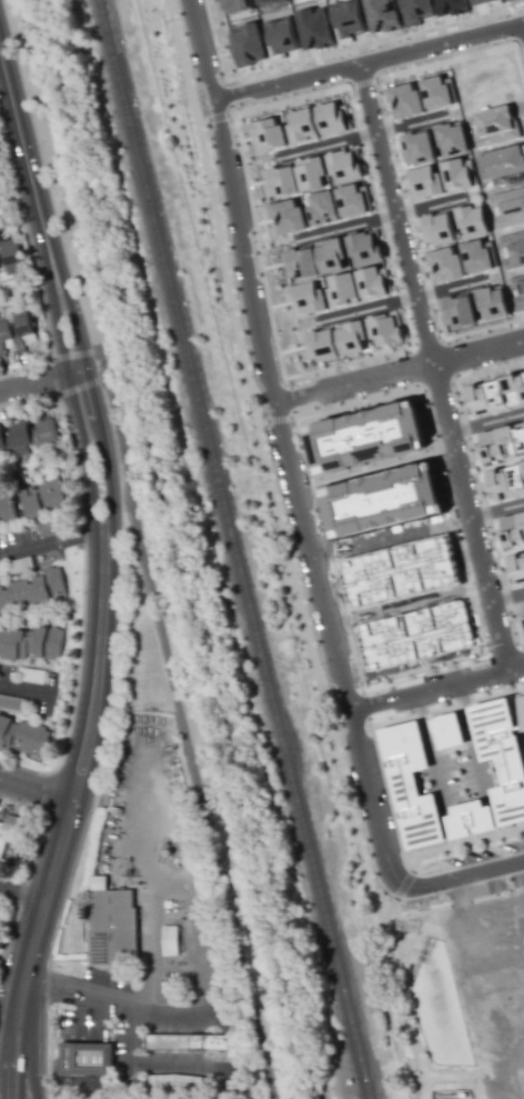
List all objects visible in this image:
building: (262, 0)
building: (514, 0)
building: (492, 4)
building: (235, 6)
building: (450, 7)
building: (415, 10)
building: (381, 12)
building: (346, 19)
building: (314, 24)
road: (521, 42)
building: (246, 43)
road: (369, 61)
road: (446, 61)
road: (362, 82)
building: (439, 92)
street lamp: (281, 96)
road: (288, 100)
building: (404, 101)
road: (216, 117)
building: (332, 118)
road: (202, 121)
road: (410, 123)
building: (301, 126)
building: (266, 134)
street lamp: (389, 142)
street lamp: (39, 144)
road: (325, 144)
building: (415, 147)
building: (454, 157)
building: (344, 164)
building: (310, 174)
building: (280, 181)
building: (424, 182)
building: (353, 200)
road: (431, 207)
building: (321, 208)
road: (394, 213)
building: (286, 217)
building: (471, 220)
road: (345, 228)
building: (435, 229)
street lamp: (251, 243)
building: (330, 256)
building: (478, 256)
building: (10, 257)
building: (299, 262)
building: (369, 263)
building: (444, 263)
street lamp: (29, 264)
road: (449, 288)
building: (342, 290)
building: (306, 299)
building: (492, 301)
road: (365, 309)
building: (456, 311)
building: (384, 329)
building: (14, 330)
building: (350, 337)
building: (320, 346)
road: (238, 349)
road: (75, 353)
street lamp: (98, 366)
road: (399, 371)
road: (37, 381)
road: (79, 386)
building: (496, 394)
street lamp: (20, 403)
street lamp: (327, 406)
road: (278, 418)
road: (261, 421)
road: (486, 422)
building: (27, 434)
building: (502, 441)
road: (284, 446)
building: (506, 481)
building: (42, 498)
building: (7, 508)
road: (496, 509)
road: (470, 517)
building: (47, 526)
building: (512, 528)
road: (50, 543)
road: (142, 549)
railway: (233, 549)
road: (101, 551)
building: (20, 565)
building: (516, 567)
building: (2, 568)
building: (33, 589)
street lamp: (79, 595)
road: (507, 596)
building: (522, 608)
building: (31, 642)
building: (31, 673)
road: (436, 688)
road: (26, 689)
parking lot: (28, 689)
street lamp: (377, 690)
building: (521, 709)
street lamp: (115, 715)
road: (373, 725)
building: (446, 730)
building: (22, 735)
building: (502, 756)
building: (411, 785)
road: (34, 790)
road: (352, 805)
building: (470, 819)
building: (9, 840)
road: (462, 843)
parking lot: (513, 845)
parking lot: (471, 857)
road: (463, 876)
parking lot: (517, 879)
road: (164, 882)
road: (403, 885)
parking lot: (496, 885)
road: (21, 892)
street lamp: (437, 893)
road: (391, 906)
road: (419, 913)
street lamp: (390, 920)
building: (112, 926)
road: (414, 952)
street lamp: (52, 955)
building: (488, 961)
parking lot: (108, 977)
road: (109, 998)
road: (401, 1003)
road: (92, 1015)
road: (44, 1040)
building: (198, 1041)
building: (84, 1058)
road: (7, 1060)
road: (152, 1062)
road: (12, 1071)
road: (23, 1071)
road: (458, 1076)
building: (93, 1082)
building: (234, 1085)

